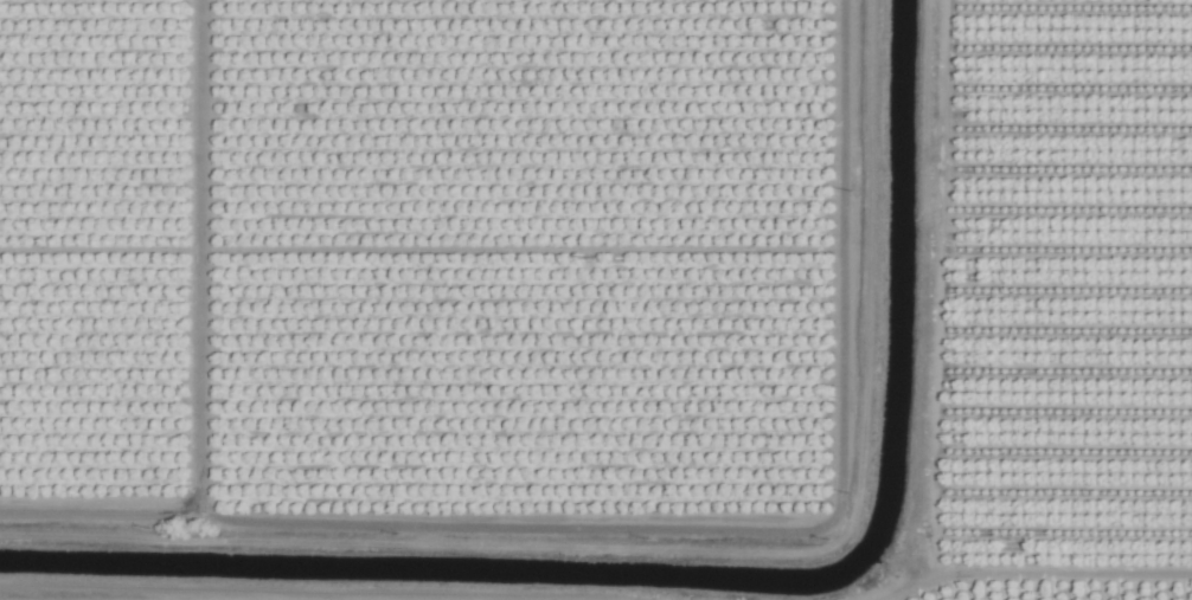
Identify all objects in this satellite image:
road: (1032, 573)
road: (194, 595)

